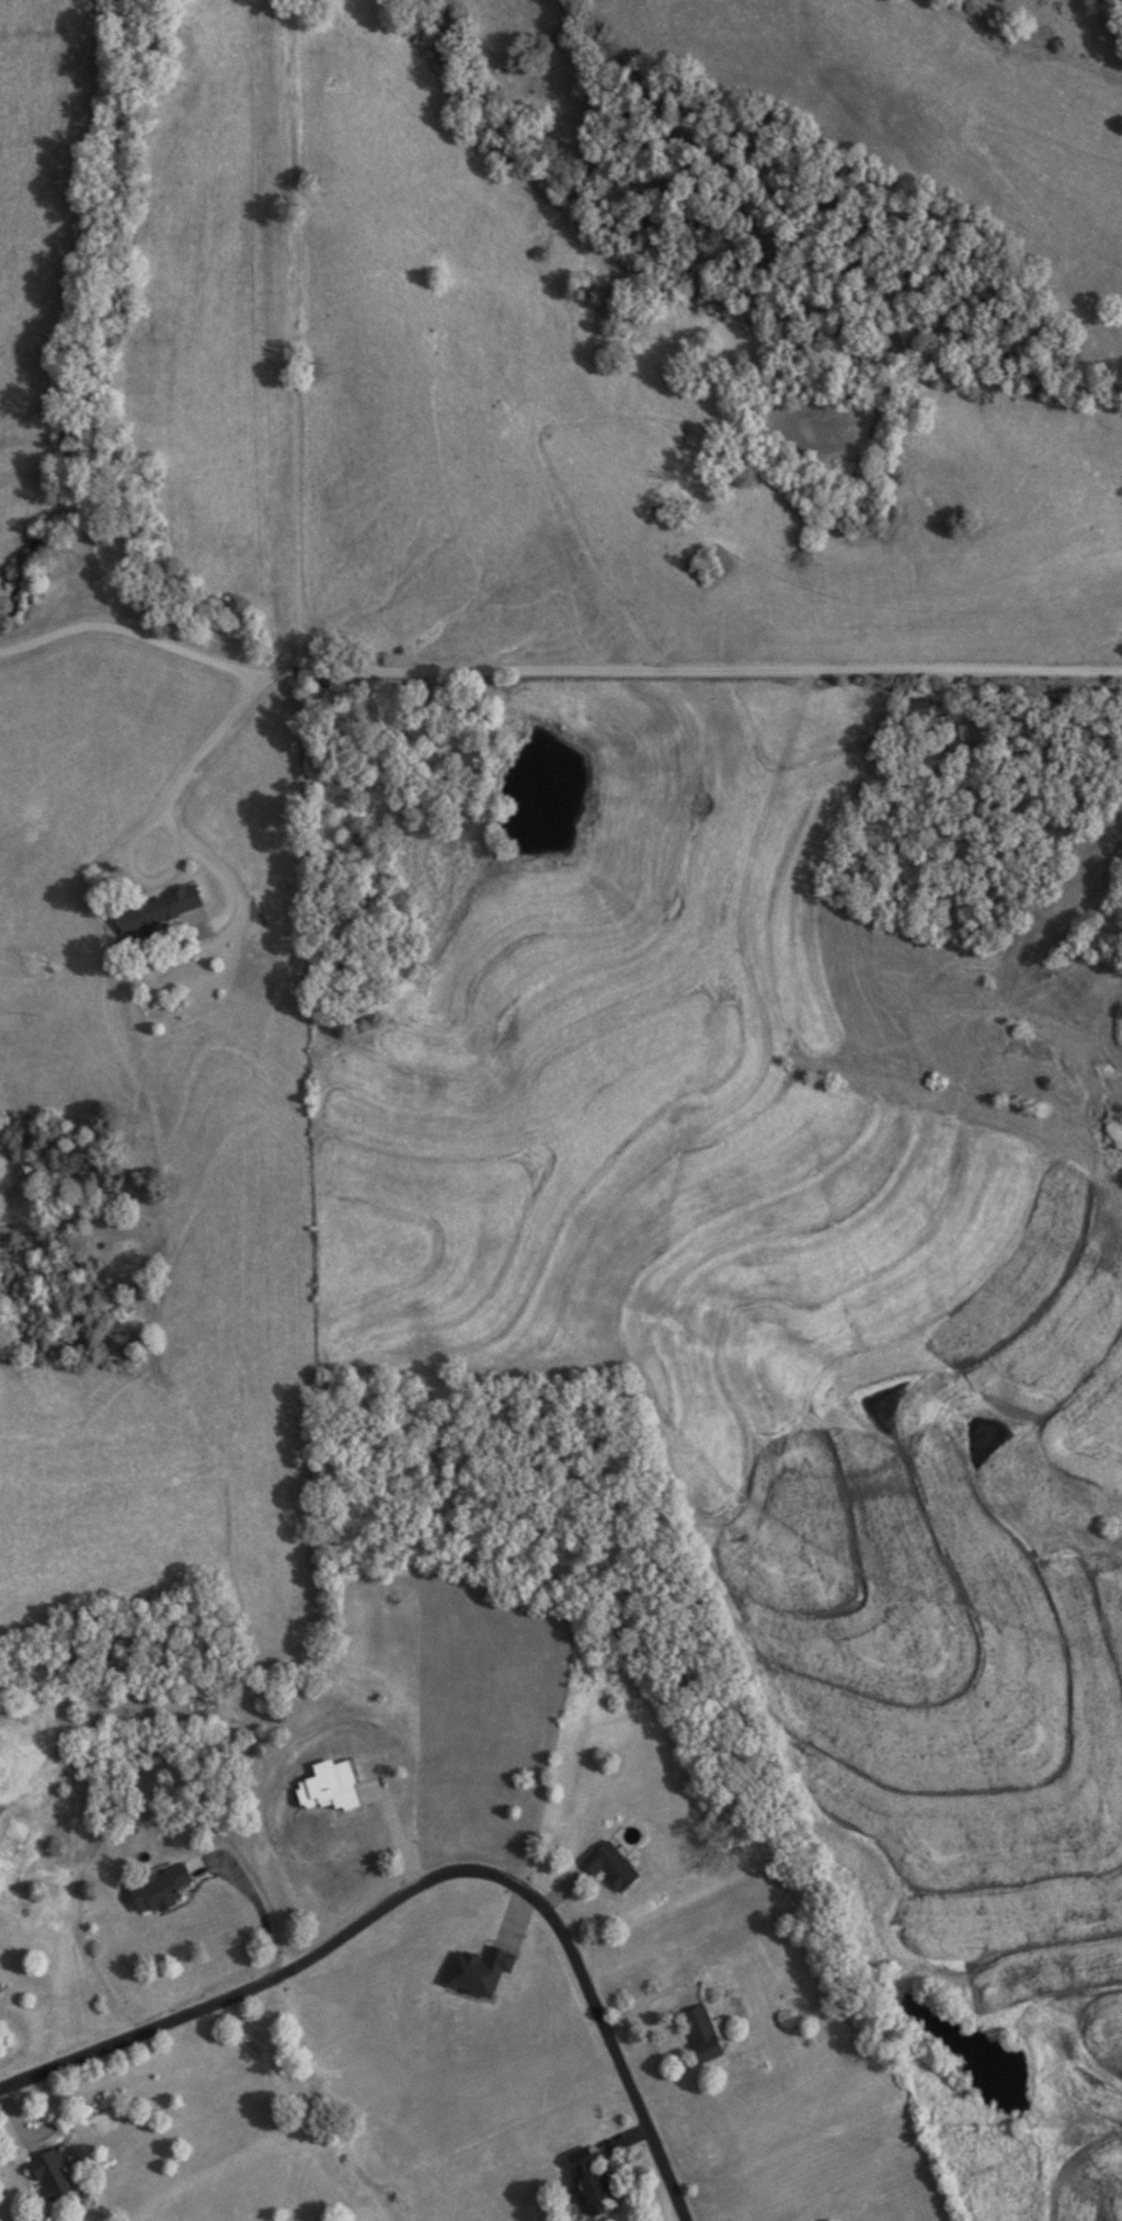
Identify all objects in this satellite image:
road: (556, 668)
building: (918, 710)
building: (971, 733)
road: (168, 802)
road: (134, 868)
building: (157, 912)
road: (396, 1838)
building: (610, 1867)
road: (425, 1883)
building: (160, 1890)
road: (262, 1916)
building: (479, 1972)
building: (702, 2036)
building: (51, 2177)
building: (591, 2182)

